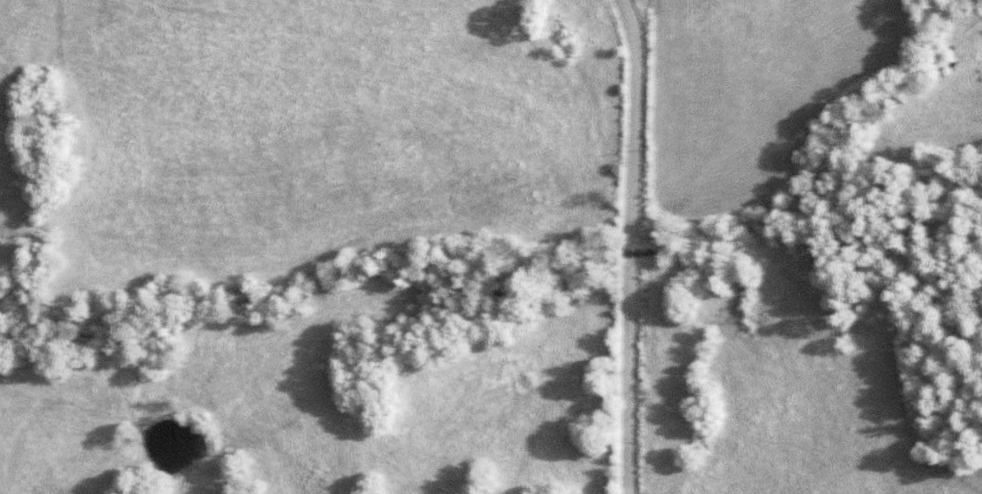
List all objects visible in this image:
road: (626, 245)

